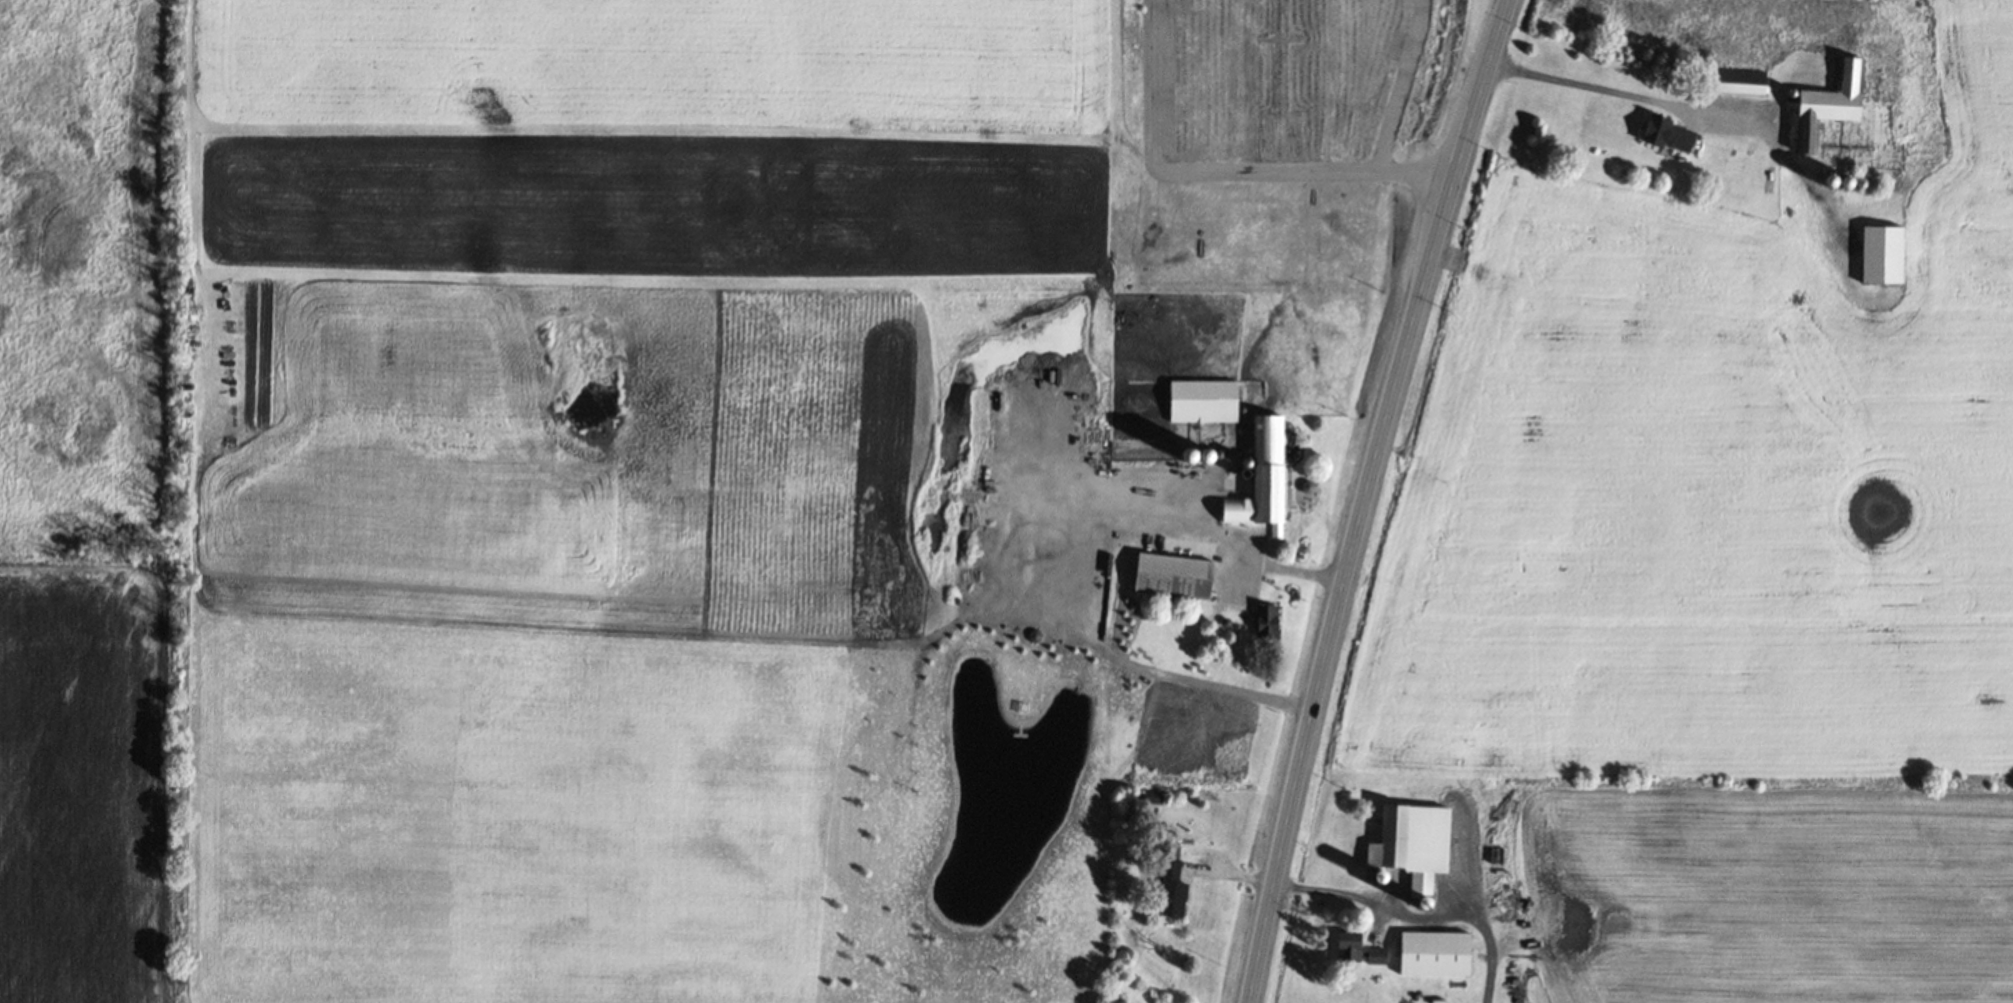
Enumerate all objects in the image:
building: (1738, 80)
road: (1400, 86)
road: (1626, 96)
building: (1830, 104)
building: (1667, 132)
road: (1222, 170)
building: (1884, 254)
building: (1205, 400)
building: (1264, 478)
road: (1363, 496)
building: (1175, 575)
building: (1269, 621)
building: (1415, 844)
building: (1171, 887)
road: (1421, 914)
building: (1358, 950)
building: (1437, 954)

